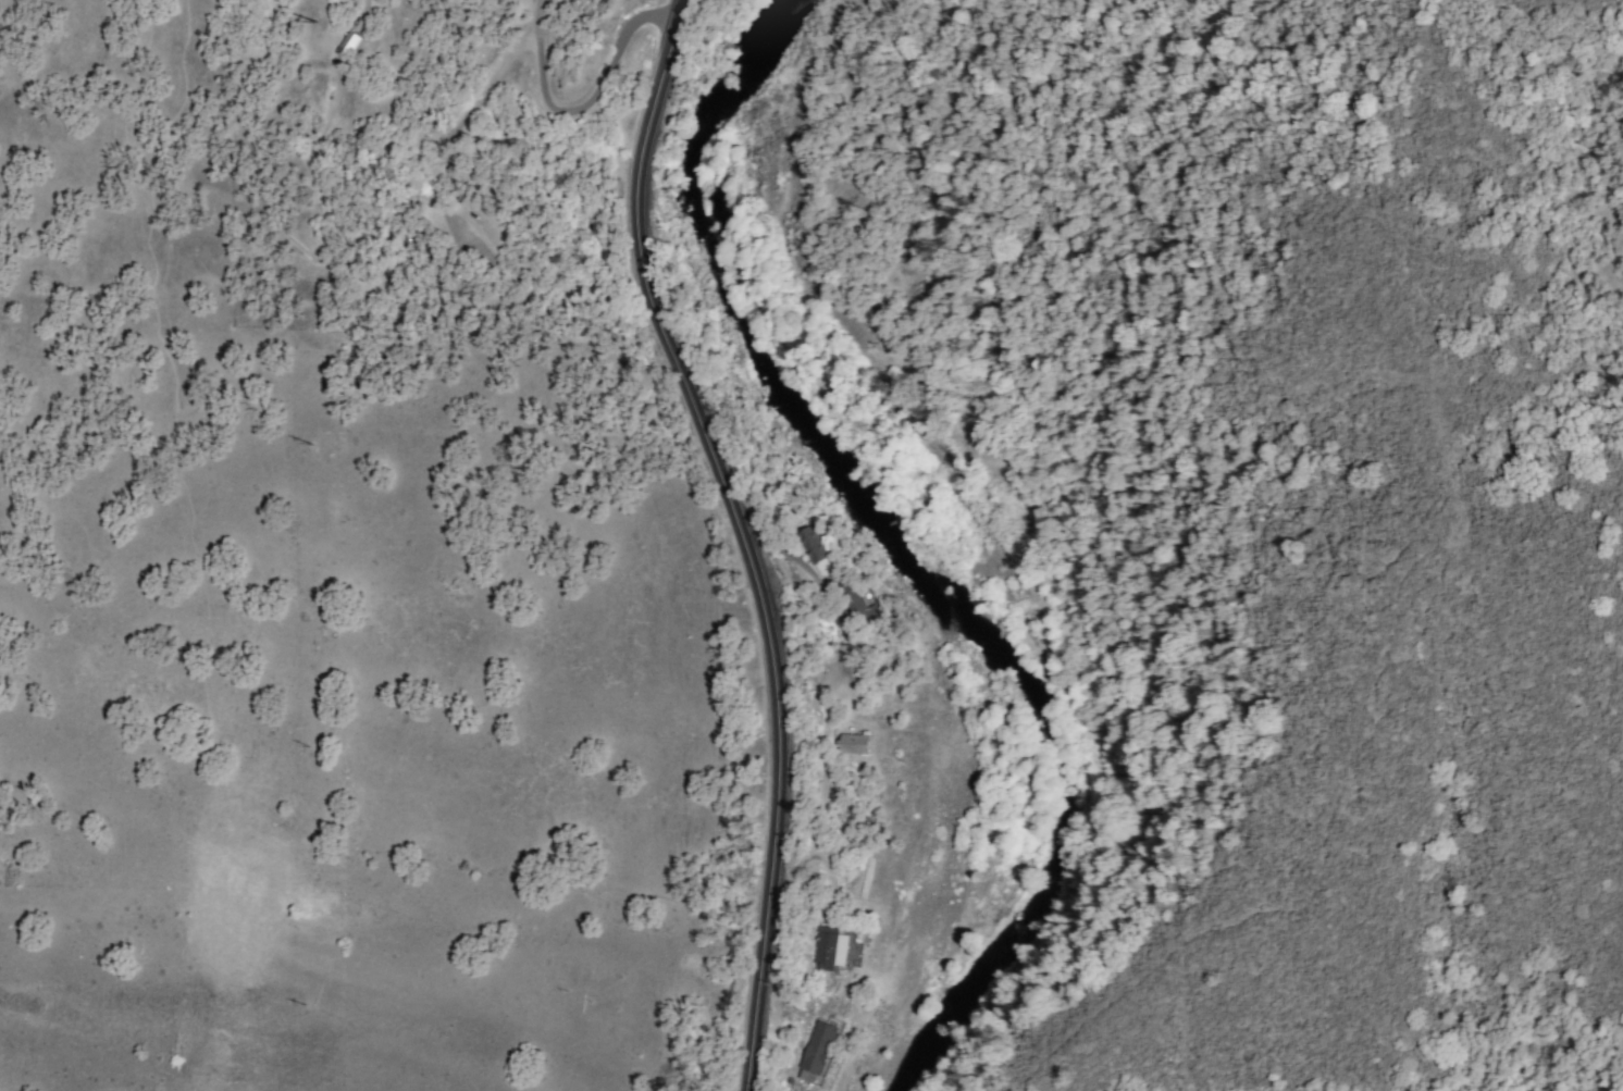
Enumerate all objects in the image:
building: (346, 42)
road: (592, 103)
road: (739, 535)
building: (811, 544)
river: (906, 562)
building: (855, 744)
building: (829, 949)
building: (816, 1053)

